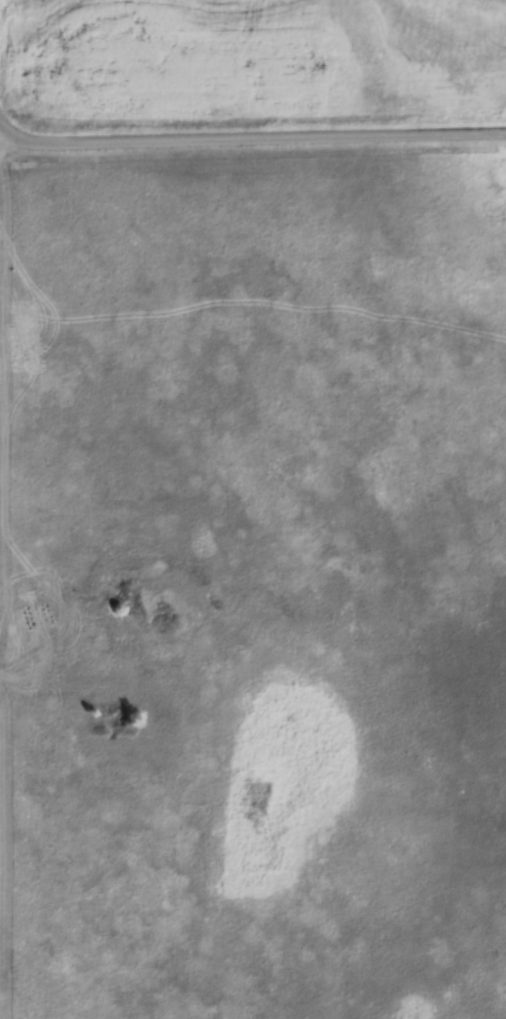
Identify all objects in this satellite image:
road: (253, 139)

